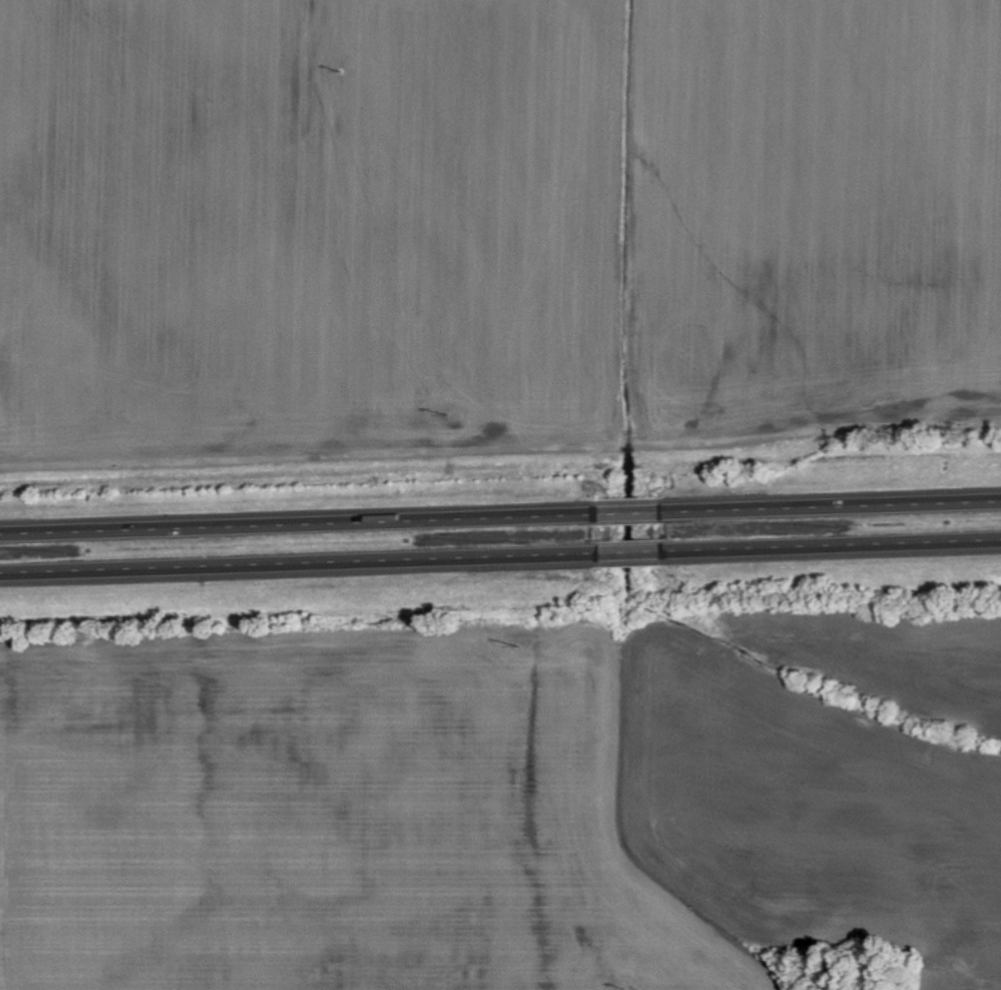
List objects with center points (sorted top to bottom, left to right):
road: (831, 503)
road: (630, 509)
road: (299, 520)
road: (831, 548)
road: (632, 555)
road: (301, 566)

